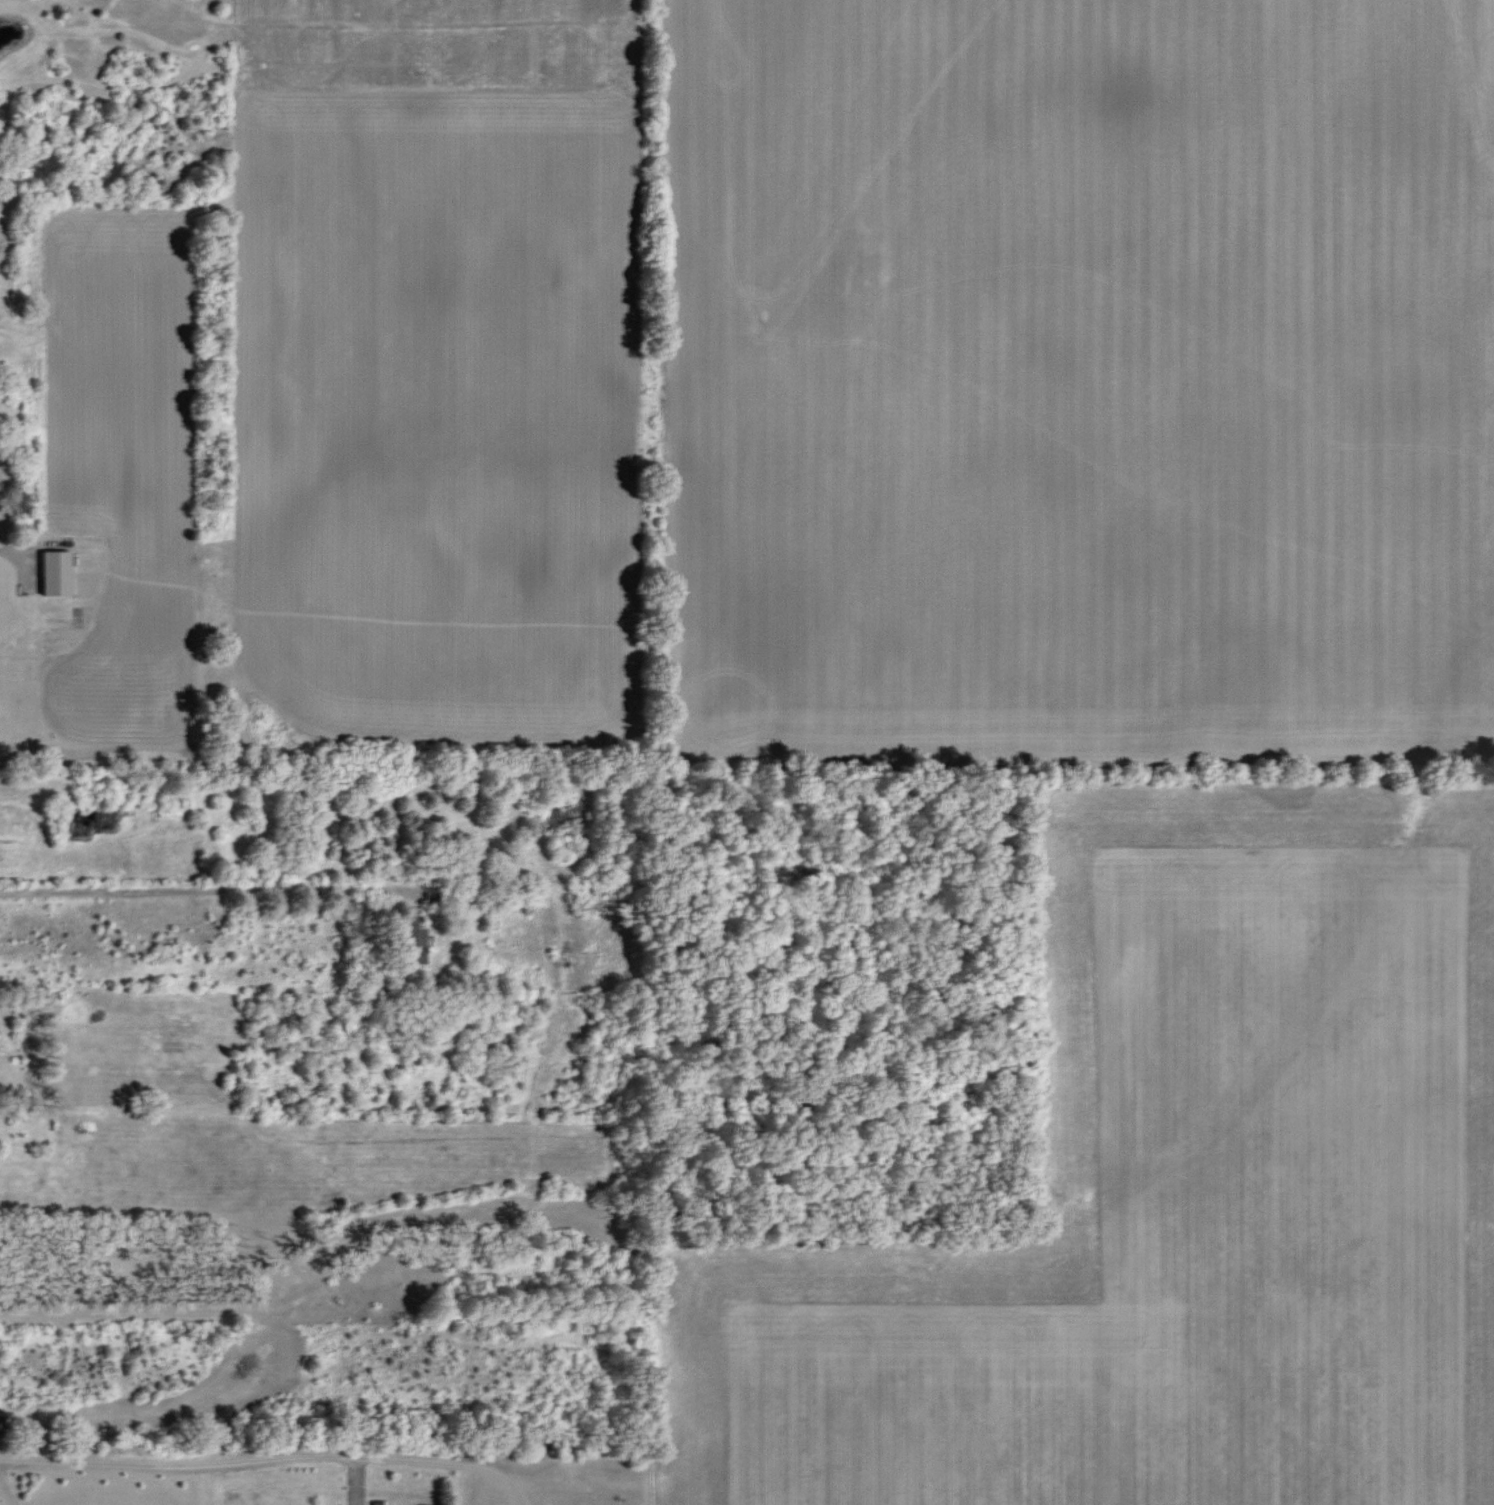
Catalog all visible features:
building: (56, 573)
road: (214, 889)
building: (433, 895)
building: (415, 939)
crop: (1172, 1189)
road: (269, 1459)
road: (7, 1492)

